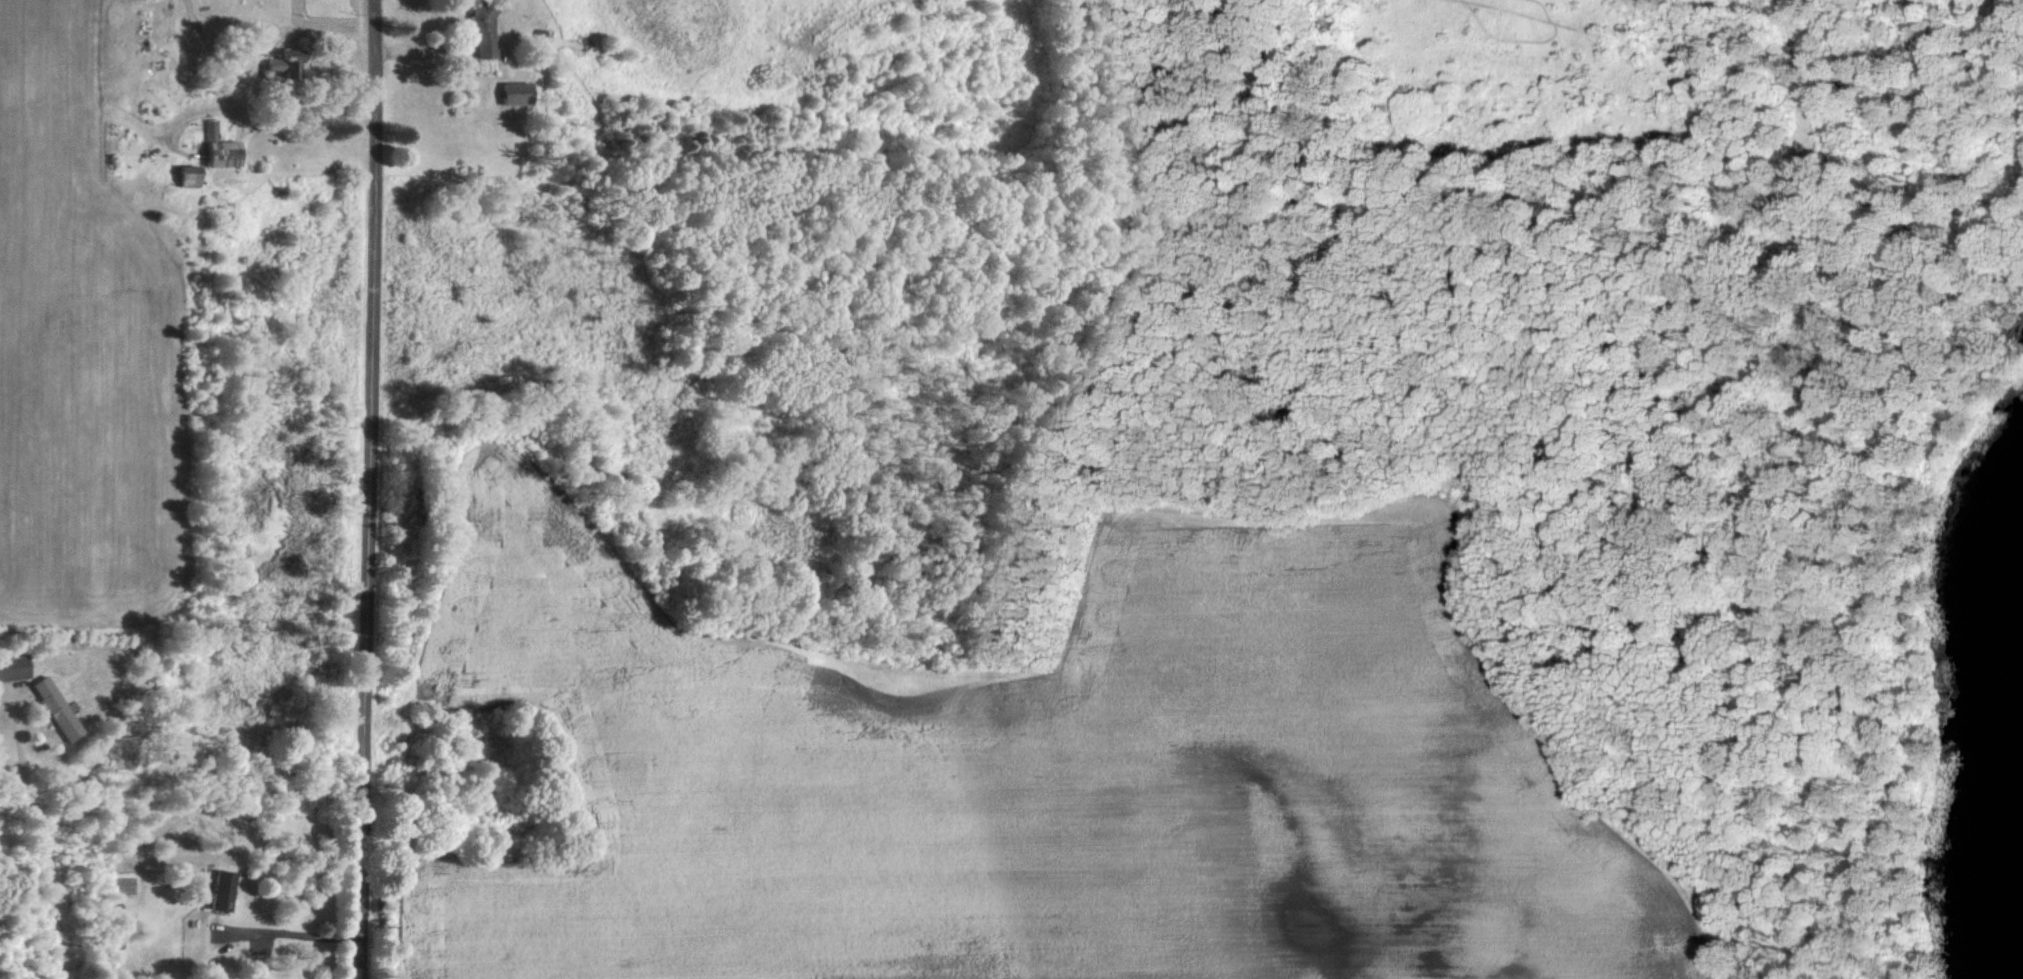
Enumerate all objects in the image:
building: (479, 29)
building: (281, 63)
building: (513, 93)
road: (317, 101)
building: (218, 148)
building: (187, 176)
road: (378, 489)
building: (16, 668)
building: (62, 709)
road: (47, 834)
building: (229, 891)
road: (303, 931)

